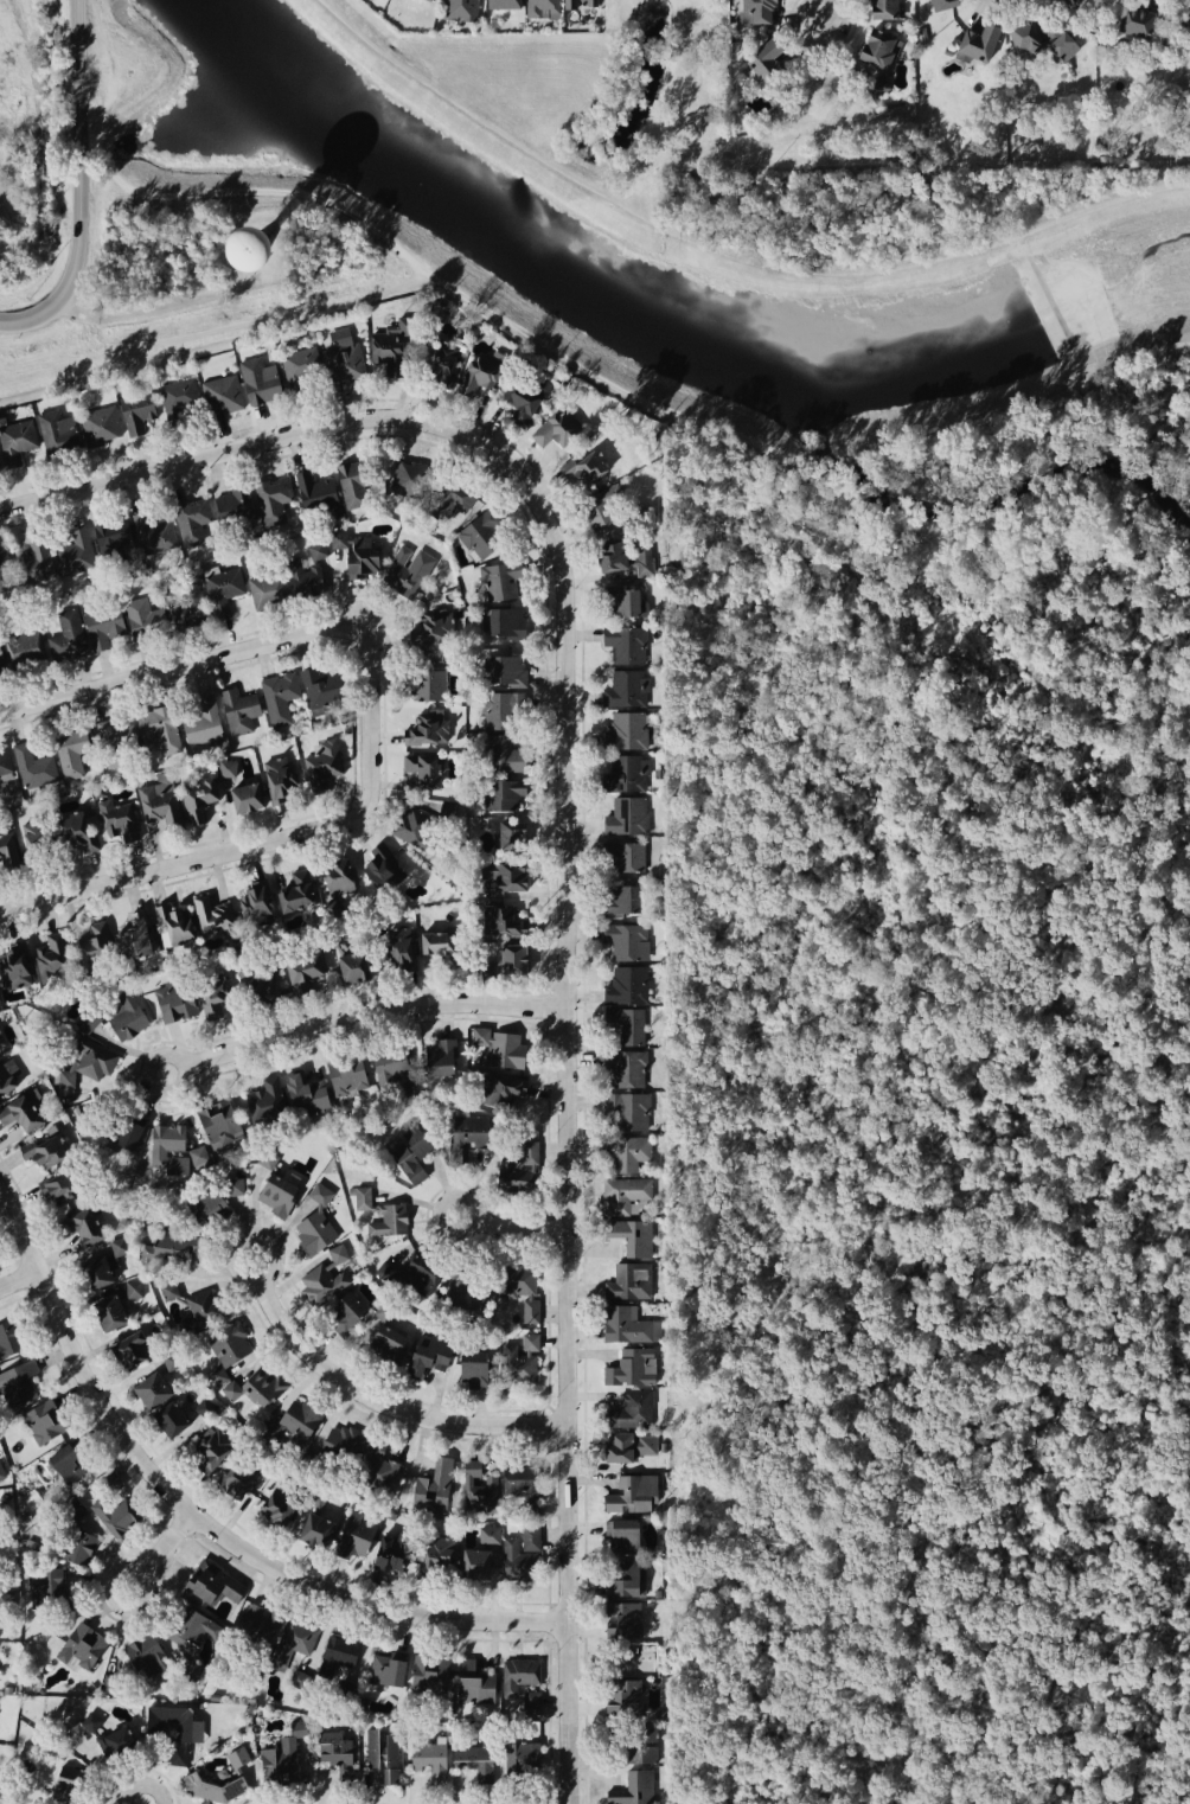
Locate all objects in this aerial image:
building: (427, 0)
building: (429, 0)
building: (1067, 0)
building: (504, 4)
building: (580, 4)
building: (938, 4)
building: (543, 8)
building: (878, 8)
building: (460, 11)
road: (826, 11)
building: (749, 12)
building: (1128, 21)
building: (1018, 34)
building: (972, 38)
building: (1060, 44)
building: (871, 46)
road: (821, 52)
building: (767, 58)
park: (599, 84)
building: (878, 87)
park: (823, 119)
road: (81, 186)
road: (38, 228)
road: (398, 249)
building: (247, 250)
water tower: (248, 250)
road: (159, 308)
road: (79, 322)
river: (664, 324)
road: (215, 325)
building: (340, 354)
building: (391, 354)
building: (442, 362)
building: (302, 367)
building: (475, 373)
building: (260, 378)
building: (222, 394)
building: (179, 399)
building: (520, 399)
building: (136, 417)
building: (100, 424)
building: (555, 429)
building: (57, 433)
building: (17, 441)
road: (249, 448)
building: (593, 463)
building: (0, 465)
building: (408, 478)
building: (354, 482)
building: (315, 488)
building: (273, 497)
building: (453, 497)
building: (233, 506)
building: (602, 506)
building: (192, 517)
building: (155, 531)
building: (480, 533)
building: (114, 539)
building: (318, 550)
building: (72, 551)
building: (360, 554)
building: (623, 555)
building: (32, 559)
building: (5, 570)
building: (407, 571)
building: (498, 582)
building: (284, 583)
building: (223, 589)
building: (185, 603)
building: (627, 609)
building: (145, 619)
building: (505, 622)
building: (104, 625)
building: (431, 627)
building: (68, 635)
building: (25, 648)
building: (627, 648)
road: (222, 655)
building: (1, 663)
building: (506, 671)
building: (426, 684)
building: (625, 689)
building: (319, 690)
building: (280, 697)
building: (504, 706)
building: (239, 710)
building: (203, 721)
building: (155, 730)
building: (429, 730)
building: (627, 734)
building: (116, 743)
building: (71, 749)
building: (503, 753)
building: (4, 761)
building: (321, 765)
building: (31, 766)
building: (229, 767)
building: (422, 770)
building: (279, 778)
building: (628, 779)
building: (0, 794)
building: (503, 794)
building: (198, 795)
building: (245, 797)
building: (160, 804)
building: (447, 812)
building: (117, 819)
building: (628, 821)
building: (415, 829)
building: (79, 830)
building: (511, 836)
building: (39, 840)
building: (7, 852)
road: (231, 852)
building: (627, 861)
building: (383, 866)
building: (335, 875)
building: (504, 876)
building: (294, 893)
building: (255, 904)
building: (625, 907)
building: (212, 914)
building: (507, 921)
building: (173, 923)
building: (330, 939)
building: (133, 941)
building: (628, 941)
building: (401, 948)
building: (92, 949)
building: (439, 951)
building: (53, 957)
building: (504, 962)
building: (15, 965)
building: (352, 966)
building: (303, 972)
building: (260, 985)
building: (628, 986)
building: (211, 992)
building: (172, 1000)
road: (378, 1012)
building: (127, 1017)
building: (89, 1021)
building: (628, 1024)
building: (1, 1043)
building: (501, 1047)
building: (441, 1055)
building: (89, 1060)
building: (389, 1062)
building: (628, 1068)
building: (7, 1074)
building: (346, 1074)
building: (414, 1088)
building: (497, 1089)
building: (305, 1094)
building: (267, 1101)
building: (629, 1109)
building: (19, 1113)
road: (576, 1118)
building: (218, 1125)
building: (121, 1130)
building: (468, 1134)
building: (167, 1139)
building: (43, 1151)
building: (628, 1151)
building: (530, 1152)
building: (410, 1153)
building: (514, 1173)
building: (57, 1186)
building: (233, 1186)
building: (277, 1194)
building: (623, 1194)
building: (204, 1202)
building: (394, 1209)
building: (81, 1224)
road: (517, 1224)
building: (314, 1229)
building: (634, 1235)
building: (119, 1246)
building: (171, 1246)
building: (339, 1254)
building: (94, 1272)
building: (414, 1273)
road: (23, 1278)
building: (629, 1280)
building: (321, 1284)
building: (523, 1285)
building: (134, 1288)
building: (168, 1290)
building: (462, 1297)
building: (204, 1311)
building: (383, 1311)
building: (108, 1312)
building: (345, 1312)
building: (631, 1325)
building: (8, 1338)
building: (530, 1342)
building: (388, 1344)
building: (226, 1348)
building: (129, 1349)
building: (429, 1354)
building: (171, 1358)
building: (518, 1365)
building: (474, 1369)
building: (628, 1371)
building: (17, 1382)
building: (256, 1383)
building: (151, 1389)
road: (386, 1406)
building: (206, 1407)
building: (633, 1408)
building: (169, 1418)
building: (43, 1420)
building: (296, 1424)
building: (346, 1441)
building: (627, 1446)
building: (209, 1447)
building: (65, 1465)
building: (376, 1467)
building: (1, 1473)
building: (235, 1477)
building: (111, 1482)
building: (522, 1483)
building: (434, 1486)
building: (479, 1489)
building: (632, 1493)
building: (277, 1506)
building: (73, 1511)
road: (205, 1514)
building: (115, 1515)
building: (315, 1529)
building: (357, 1535)
building: (490, 1535)
building: (622, 1535)
building: (531, 1537)
building: (73, 1544)
building: (395, 1549)
road: (166, 1550)
building: (436, 1555)
building: (518, 1561)
building: (474, 1562)
building: (627, 1578)
building: (212, 1580)
building: (45, 1587)
building: (623, 1619)
building: (258, 1624)
building: (190, 1629)
building: (294, 1639)
building: (81, 1645)
building: (343, 1650)
building: (635, 1658)
building: (145, 1659)
building: (389, 1668)
building: (192, 1672)
building: (430, 1674)
building: (520, 1675)
building: (474, 1683)
building: (621, 1696)
building: (531, 1699)
building: (91, 1721)
building: (172, 1729)
building: (119, 1744)
building: (641, 1745)
building: (338, 1753)
building: (384, 1754)
building: (238, 1755)
building: (282, 1759)
building: (430, 1759)
building: (476, 1760)
building: (526, 1761)
building: (0, 1781)
building: (215, 1787)
building: (60, 1789)
building: (634, 1789)

